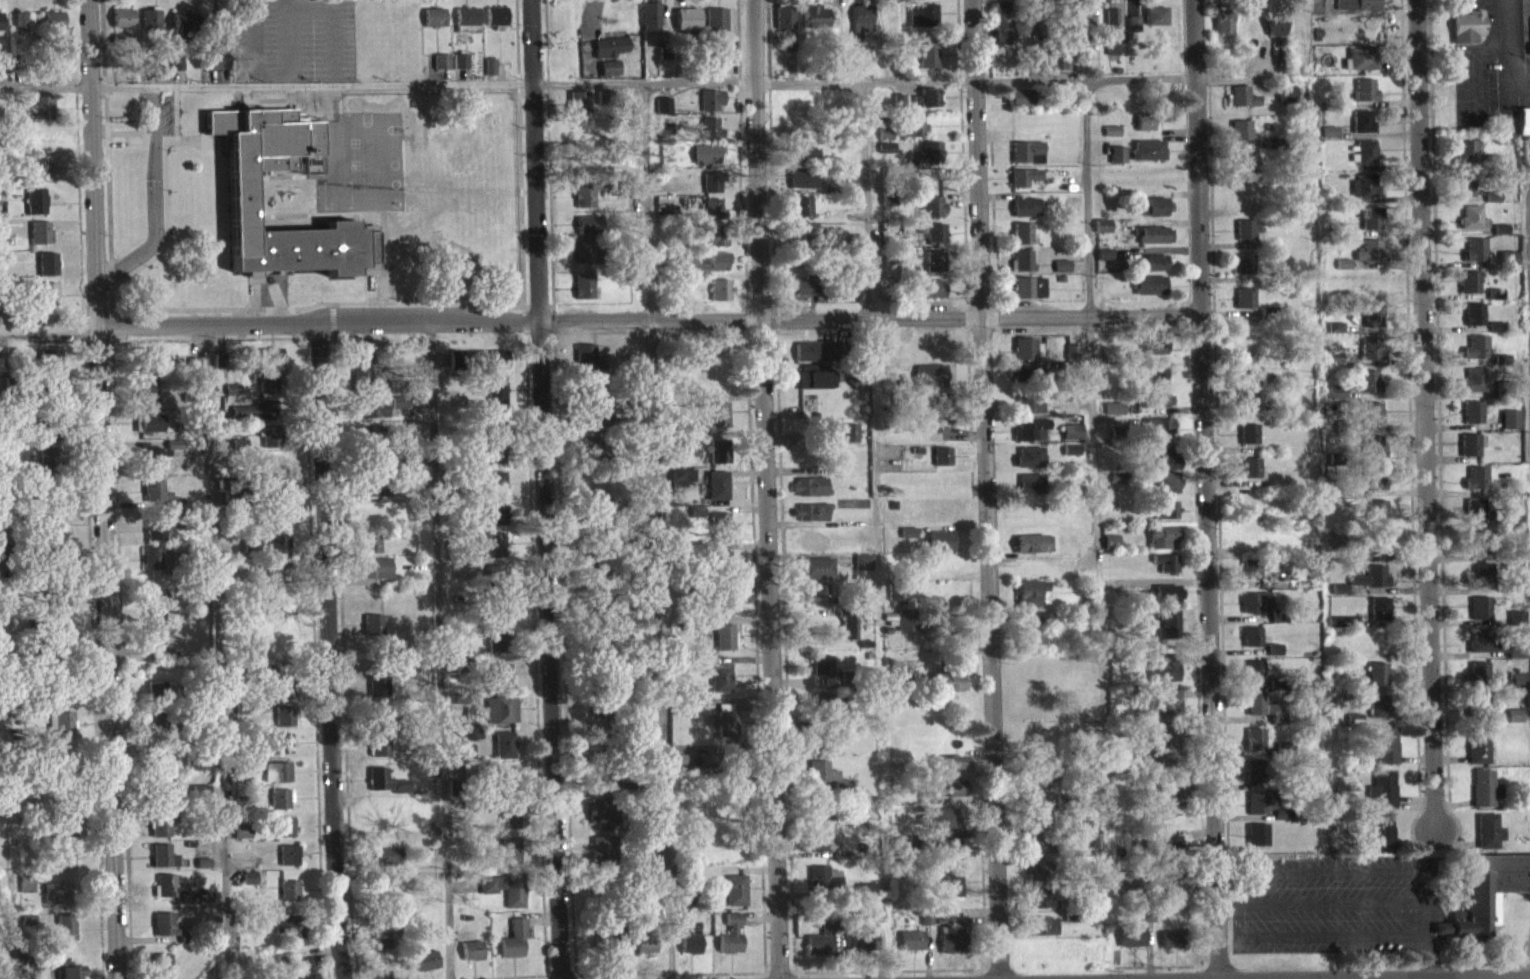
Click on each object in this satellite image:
building: (1358, 10)
building: (1082, 22)
road: (331, 23)
building: (926, 23)
building: (1155, 24)
building: (650, 25)
building: (815, 25)
building: (122, 26)
building: (434, 26)
building: (496, 26)
building: (784, 26)
building: (862, 26)
building: (149, 27)
building: (687, 27)
building: (1033, 27)
building: (467, 28)
building: (52, 29)
building: (716, 29)
building: (0, 30)
building: (183, 30)
building: (1222, 30)
building: (24, 31)
building: (1003, 31)
building: (1133, 32)
building: (1274, 33)
building: (1467, 35)
building: (1112, 38)
parking lot: (292, 49)
building: (788, 51)
building: (610, 55)
building: (928, 64)
building: (1058, 67)
building: (1361, 67)
building: (460, 69)
building: (147, 70)
building: (217, 70)
building: (441, 70)
building: (176, 71)
road: (269, 72)
building: (490, 75)
building: (609, 76)
road: (974, 78)
road: (643, 81)
road: (44, 85)
road: (288, 99)
building: (1364, 99)
road: (245, 101)
building: (1285, 104)
road: (288, 105)
building: (1242, 105)
building: (930, 106)
building: (1018, 106)
road: (271, 108)
parking lot: (122, 109)
building: (711, 109)
road: (245, 111)
building: (577, 111)
road: (175, 112)
building: (664, 114)
building: (42, 115)
parking lot: (164, 125)
building: (1144, 130)
building: (1362, 130)
building: (1524, 130)
road: (135, 131)
building: (914, 135)
building: (711, 137)
building: (1240, 138)
road: (194, 139)
building: (1111, 139)
road: (107, 142)
building: (1148, 158)
building: (1025, 159)
building: (1465, 160)
building: (1363, 161)
building: (707, 162)
building: (928, 162)
building: (801, 163)
building: (1117, 163)
road: (153, 167)
building: (1035, 167)
building: (1242, 171)
road: (163, 172)
building: (37, 176)
building: (1023, 185)
building: (803, 187)
building: (713, 191)
building: (1464, 193)
building: (1365, 195)
building: (584, 203)
building: (239, 204)
road: (645, 205)
road: (865, 205)
building: (1492, 205)
building: (36, 210)
road: (164, 210)
building: (800, 215)
building: (1025, 215)
building: (1157, 215)
building: (929, 216)
building: (713, 217)
road: (1529, 224)
building: (1472, 226)
building: (1371, 227)
building: (588, 234)
building: (1102, 234)
building: (1500, 237)
building: (1245, 238)
building: (802, 240)
building: (40, 241)
building: (934, 242)
building: (1022, 242)
building: (1154, 243)
building: (714, 244)
road: (151, 258)
building: (1474, 259)
building: (584, 260)
building: (1370, 260)
building: (1103, 262)
building: (717, 267)
building: (935, 269)
building: (1023, 269)
building: (1155, 270)
building: (1343, 272)
building: (47, 273)
building: (1243, 273)
building: (1062, 274)
building: (1469, 291)
building: (583, 294)
building: (1149, 294)
building: (801, 295)
building: (1029, 296)
road: (111, 297)
building: (929, 297)
building: (720, 298)
building: (47, 302)
building: (1244, 306)
road: (97, 310)
road: (475, 311)
road: (552, 314)
road: (1088, 316)
building: (1474, 323)
road: (82, 324)
road: (111, 324)
building: (1373, 324)
road: (597, 329)
building: (1496, 335)
road: (97, 338)
building: (1154, 354)
building: (1476, 356)
building: (1028, 357)
building: (1372, 357)
building: (818, 359)
building: (361, 363)
building: (274, 365)
building: (455, 365)
building: (586, 366)
building: (148, 368)
building: (493, 368)
building: (49, 369)
building: (220, 369)
building: (1246, 373)
building: (810, 376)
building: (1023, 382)
building: (1158, 383)
building: (930, 384)
building: (361, 387)
building: (813, 388)
building: (1474, 389)
building: (1368, 390)
building: (267, 392)
building: (589, 396)
building: (144, 398)
building: (496, 400)
building: (1336, 401)
building: (451, 403)
building: (697, 408)
building: (1248, 408)
building: (1160, 409)
building: (398, 411)
building: (1030, 412)
building: (940, 414)
building: (372, 416)
building: (1114, 417)
building: (253, 419)
building: (1472, 421)
building: (718, 422)
building: (1373, 422)
road: (1433, 424)
building: (591, 427)
building: (1510, 428)
building: (154, 430)
building: (1159, 436)
building: (50, 437)
building: (1030, 438)
building: (846, 440)
building: (1072, 440)
building: (1248, 442)
building: (270, 445)
building: (680, 450)
building: (1470, 453)
building: (1373, 455)
building: (592, 456)
building: (1071, 458)
building: (718, 459)
building: (494, 460)
building: (942, 464)
building: (48, 466)
building: (1029, 466)
building: (1161, 467)
building: (268, 473)
building: (1250, 476)
building: (679, 486)
building: (1374, 487)
building: (1476, 487)
road: (101, 489)
road: (544, 489)
road: (762, 489)
road: (984, 489)
road: (1200, 489)
building: (1164, 491)
building: (1031, 492)
building: (495, 493)
building: (716, 494)
building: (808, 495)
building: (375, 496)
building: (159, 502)
building: (52, 506)
building: (1165, 518)
building: (1377, 519)
building: (1478, 520)
building: (809, 521)
building: (495, 524)
building: (1514, 529)
building: (718, 533)
building: (52, 535)
building: (154, 536)
building: (908, 541)
building: (1162, 545)
building: (807, 547)
building: (940, 549)
building: (1110, 550)
building: (1378, 551)
building: (1481, 551)
building: (251, 552)
building: (370, 552)
building: (1033, 552)
building: (490, 553)
building: (279, 554)
building: (721, 567)
building: (157, 568)
building: (862, 571)
building: (1166, 571)
building: (375, 576)
building: (1082, 576)
building: (815, 577)
building: (1251, 577)
building: (494, 583)
building: (1483, 584)
building: (1370, 586)
building: (1110, 594)
building: (1339, 597)
building: (1032, 601)
building: (897, 602)
building: (1166, 602)
building: (817, 603)
building: (59, 606)
building: (645, 611)
building: (723, 611)
building: (1255, 611)
building: (1480, 616)
building: (1380, 617)
building: (496, 618)
building: (1516, 626)
building: (906, 629)
building: (155, 632)
building: (1168, 632)
building: (57, 633)
building: (372, 633)
building: (849, 637)
building: (1251, 645)
building: (724, 646)
road: (533, 647)
building: (497, 649)
road: (217, 651)
building: (1484, 651)
road: (658, 654)
road: (438, 655)
road: (327, 656)
building: (1274, 658)
building: (161, 659)
building: (822, 674)
building: (1164, 678)
building: (1257, 678)
building: (1378, 682)
building: (500, 683)
building: (1476, 684)
building: (902, 686)
building: (720, 687)
building: (952, 690)
building: (376, 692)
building: (156, 701)
building: (58, 706)
building: (823, 709)
building: (1165, 712)
building: (1380, 714)
building: (1263, 717)
building: (500, 719)
building: (284, 723)
building: (1514, 724)
building: (152, 727)
building: (1353, 728)
building: (724, 732)
building: (469, 743)
building: (1167, 743)
building: (1255, 748)
building: (503, 754)
building: (1386, 754)
building: (1477, 754)
building: (379, 755)
building: (160, 767)
building: (949, 771)
building: (191, 773)
building: (1046, 778)
building: (282, 780)
building: (1256, 780)
building: (506, 784)
building: (823, 784)
building: (596, 789)
building: (385, 790)
building: (951, 796)
building: (1172, 796)
building: (162, 797)
building: (1483, 797)
building: (1381, 799)
building: (280, 807)
building: (1259, 811)
building: (1039, 815)
building: (820, 816)
building: (605, 820)
building: (1282, 823)
building: (508, 825)
building: (943, 826)
building: (161, 833)
building: (64, 834)
building: (284, 835)
building: (241, 839)
building: (1382, 840)
building: (1487, 840)
building: (1257, 843)
building: (900, 850)
building: (817, 852)
building: (1166, 852)
building: (1037, 853)
building: (603, 856)
building: (949, 859)
building: (509, 860)
building: (288, 863)
building: (163, 865)
building: (386, 865)
building: (64, 867)
road: (1330, 868)
building: (1037, 880)
road: (1426, 884)
building: (822, 886)
building: (248, 887)
road: (1236, 888)
building: (26, 893)
building: (952, 893)
building: (504, 897)
building: (173, 898)
building: (289, 899)
building: (735, 899)
building: (866, 900)
building: (56, 902)
road: (1332, 902)
road: (2, 904)
road: (1226, 905)
building: (1041, 908)
building: (683, 911)
building: (1469, 921)
building: (27, 928)
building: (1043, 934)
building: (288, 935)
road: (1318, 935)
building: (65, 936)
building: (867, 936)
road: (1429, 939)
building: (730, 944)
building: (952, 945)
building: (1131, 945)
building: (513, 948)
building: (1171, 948)
building: (381, 949)
building: (910, 949)
building: (820, 950)
building: (690, 951)
building: (645, 953)
building: (471, 959)
building: (426, 969)
building: (162, 971)
building: (304, 971)
building: (67, 974)
road: (1215, 978)
road: (1498, 978)

